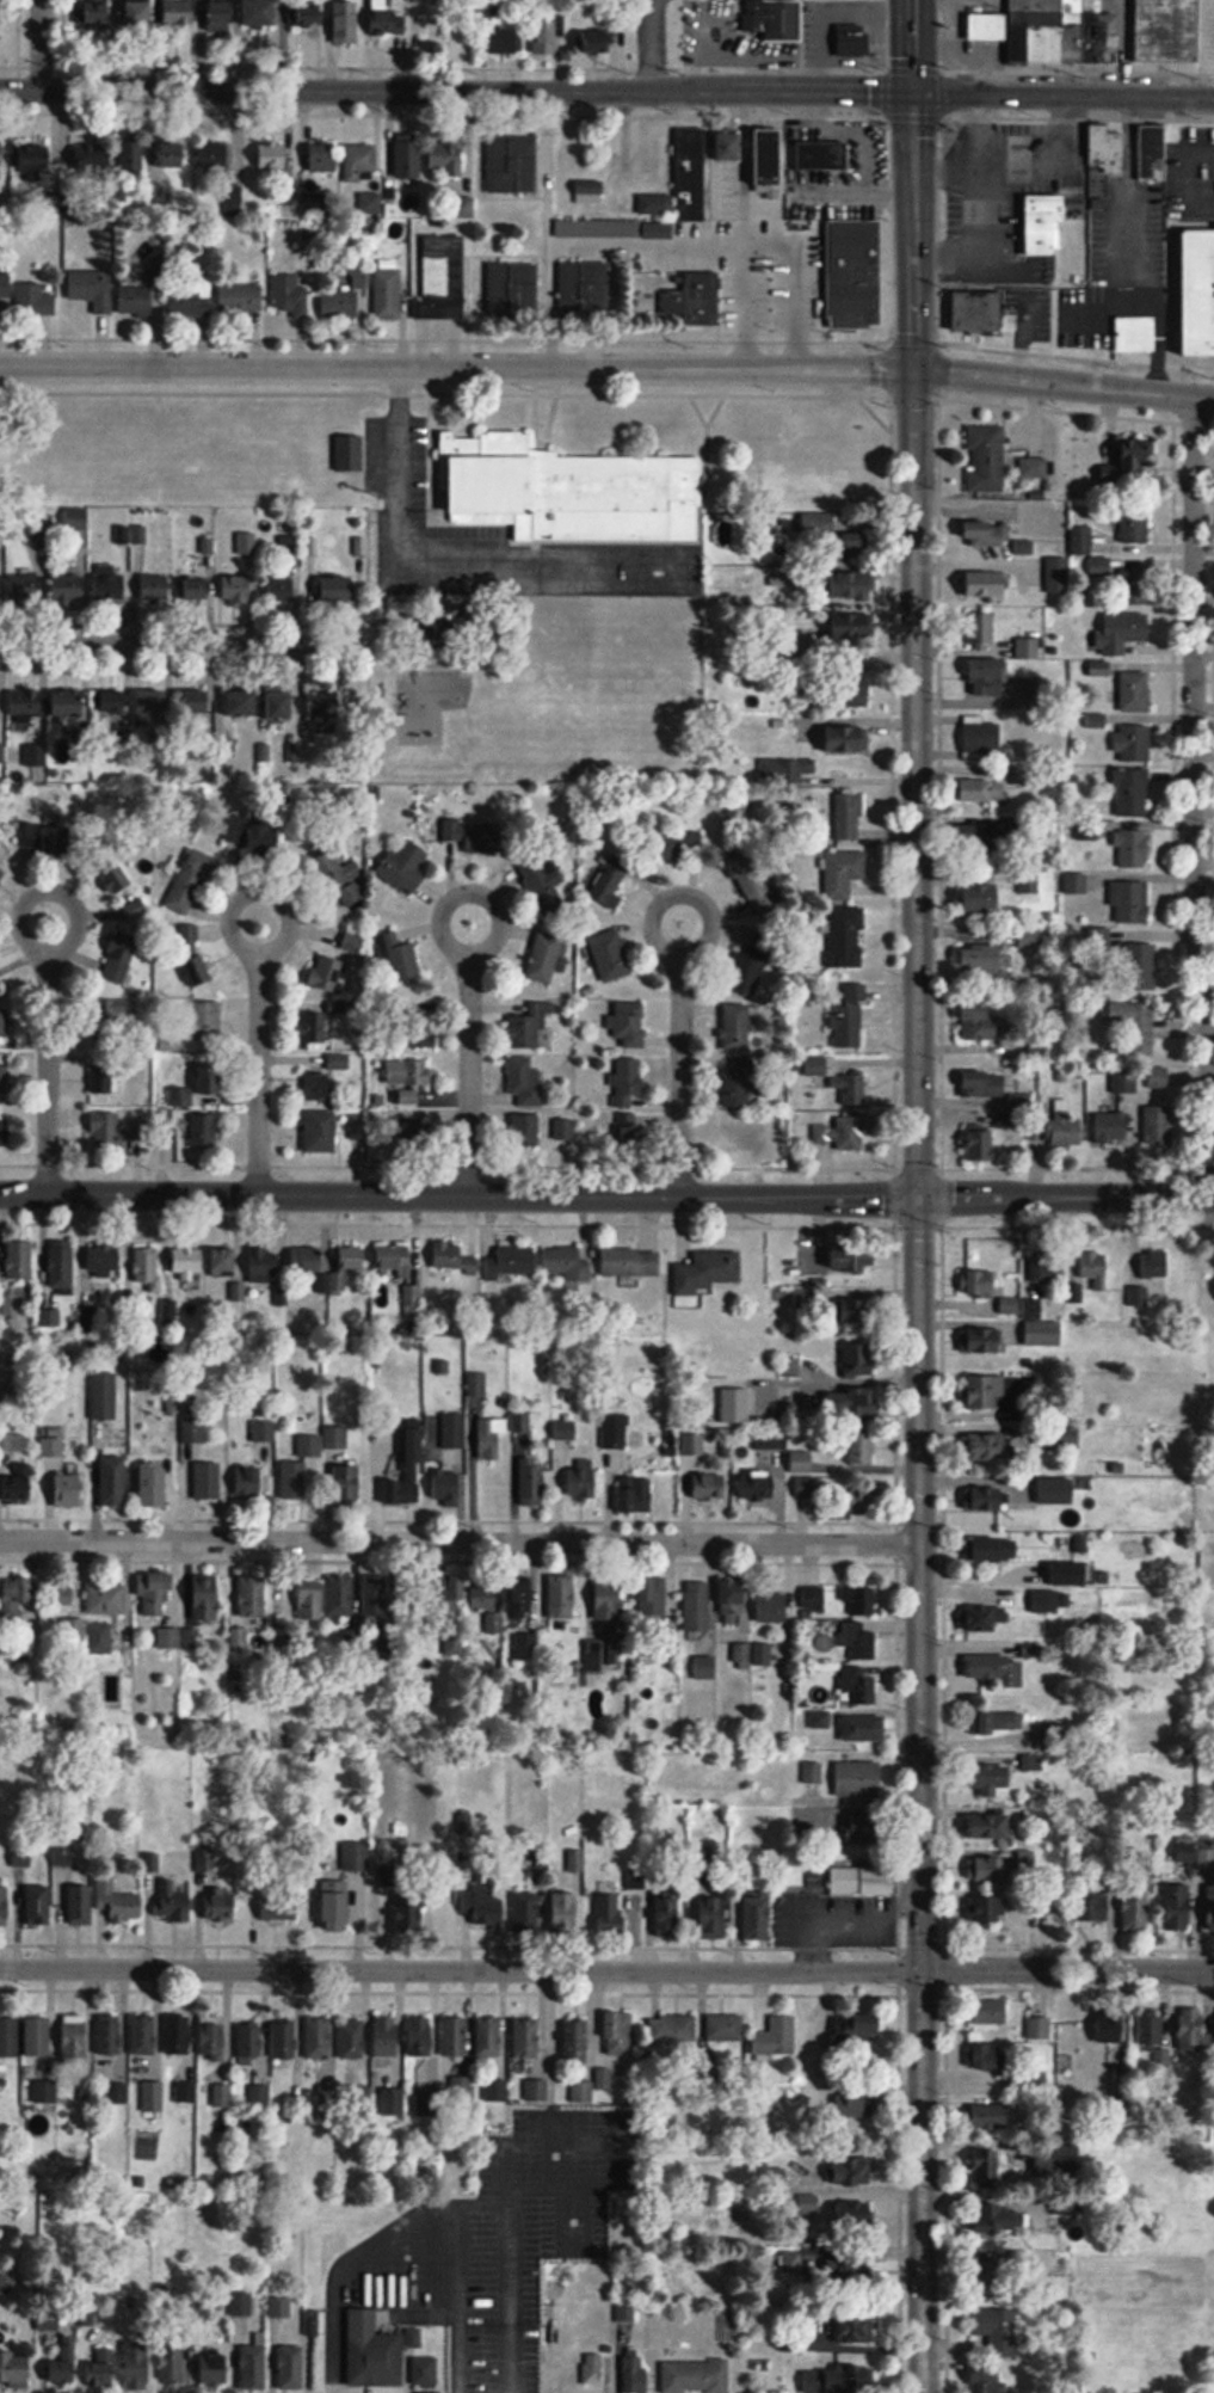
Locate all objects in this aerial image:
building: (119, 12)
building: (179, 12)
building: (308, 13)
building: (260, 14)
building: (220, 16)
building: (388, 19)
building: (784, 20)
building: (346, 23)
building: (1167, 31)
building: (1053, 32)
building: (547, 36)
building: (1212, 39)
building: (598, 41)
building: (851, 41)
building: (506, 42)
road: (38, 44)
road: (648, 44)
road: (912, 44)
road: (456, 88)
road: (1064, 92)
building: (732, 147)
building: (2, 153)
building: (215, 153)
building: (158, 154)
building: (1107, 155)
building: (37, 156)
building: (273, 156)
building: (821, 156)
building: (322, 158)
building: (406, 159)
building: (448, 160)
building: (771, 160)
building: (360, 162)
building: (94, 164)
building: (512, 164)
building: (691, 176)
building: (590, 192)
building: (657, 205)
building: (1046, 223)
building: (615, 228)
building: (855, 273)
building: (443, 278)
building: (5, 282)
building: (92, 290)
building: (586, 290)
building: (514, 291)
building: (1198, 293)
building: (291, 294)
building: (388, 294)
building: (190, 297)
building: (241, 299)
building: (345, 299)
building: (35, 300)
building: (136, 300)
building: (704, 301)
building: (976, 312)
building: (1141, 333)
road: (608, 369)
building: (356, 453)
building: (1139, 454)
building: (986, 459)
building: (1034, 467)
building: (568, 491)
building: (76, 518)
building: (1134, 527)
building: (982, 533)
building: (840, 535)
building: (1081, 540)
building: (247, 542)
building: (289, 545)
road: (436, 556)
building: (1101, 566)
building: (1058, 574)
building: (854, 585)
building: (986, 585)
building: (0, 586)
building: (131, 586)
building: (69, 588)
building: (197, 588)
building: (236, 588)
building: (27, 589)
building: (281, 589)
building: (339, 590)
building: (855, 625)
building: (981, 628)
building: (1127, 630)
road: (913, 644)
road: (185, 645)
building: (1028, 647)
building: (991, 669)
building: (1135, 689)
building: (849, 691)
building: (115, 702)
building: (197, 702)
building: (244, 702)
building: (279, 702)
building: (26, 703)
building: (68, 703)
building: (0, 705)
building: (153, 706)
building: (981, 734)
building: (849, 739)
building: (1133, 742)
building: (785, 769)
building: (1025, 775)
building: (984, 789)
building: (1132, 792)
road: (1196, 798)
building: (849, 816)
building: (254, 837)
building: (985, 838)
building: (1132, 849)
building: (406, 866)
building: (844, 873)
building: (195, 874)
building: (339, 880)
building: (1028, 882)
building: (611, 884)
building: (542, 885)
building: (754, 885)
building: (981, 898)
building: (1129, 903)
building: (1030, 936)
building: (845, 937)
building: (352, 942)
building: (191, 955)
building: (612, 955)
building: (982, 956)
building: (398, 958)
building: (119, 959)
building: (546, 960)
building: (1138, 962)
building: (748, 967)
building: (327, 973)
building: (103, 1011)
building: (978, 1011)
building: (850, 1017)
building: (207, 1019)
building: (319, 1023)
building: (413, 1023)
building: (4, 1026)
building: (737, 1027)
building: (1132, 1028)
building: (631, 1031)
building: (526, 1032)
road: (47, 1036)
road: (259, 1038)
road: (680, 1040)
road: (470, 1041)
building: (338, 1062)
building: (409, 1072)
building: (103, 1075)
building: (209, 1077)
building: (1158, 1077)
building: (4, 1079)
building: (524, 1082)
building: (739, 1082)
building: (627, 1084)
building: (981, 1084)
building: (319, 1088)
building: (851, 1089)
building: (409, 1096)
building: (1018, 1107)
building: (1117, 1112)
building: (1066, 1125)
building: (1159, 1125)
building: (526, 1130)
building: (566, 1130)
building: (321, 1131)
building: (840, 1131)
building: (109, 1132)
building: (207, 1132)
building: (741, 1132)
building: (633, 1133)
building: (413, 1136)
building: (5, 1139)
building: (981, 1144)
road: (1066, 1195)
road: (458, 1196)
traffic signals: (919, 1198)
building: (854, 1256)
building: (19, 1259)
building: (395, 1259)
building: (104, 1260)
building: (189, 1260)
building: (485, 1260)
building: (224, 1262)
building: (631, 1262)
building: (1153, 1263)
building: (265, 1265)
building: (565, 1265)
building: (62, 1266)
building: (1044, 1267)
building: (1095, 1267)
building: (147, 1268)
building: (329, 1268)
building: (708, 1272)
building: (979, 1282)
building: (1138, 1296)
building: (4, 1303)
building: (859, 1312)
building: (1044, 1333)
building: (986, 1340)
building: (859, 1354)
building: (791, 1366)
building: (476, 1384)
building: (987, 1391)
building: (105, 1395)
building: (846, 1404)
building: (735, 1405)
building: (192, 1431)
building: (565, 1431)
building: (615, 1431)
building: (449, 1432)
building: (491, 1435)
building: (335, 1438)
building: (53, 1441)
building: (309, 1445)
building: (862, 1446)
building: (990, 1446)
building: (801, 1462)
building: (411, 1470)
building: (583, 1478)
building: (113, 1481)
building: (208, 1481)
building: (531, 1481)
building: (155, 1482)
building: (248, 1482)
building: (294, 1482)
building: (347, 1485)
building: (758, 1485)
building: (710, 1487)
building: (18, 1488)
building: (63, 1489)
building: (448, 1489)
building: (641, 1495)
building: (807, 1497)
building: (988, 1497)
building: (859, 1503)
road: (460, 1542)
building: (997, 1549)
building: (1070, 1574)
building: (155, 1592)
building: (62, 1593)
building: (483, 1595)
building: (207, 1597)
building: (252, 1597)
building: (340, 1597)
building: (106, 1598)
building: (561, 1598)
building: (734, 1598)
building: (309, 1599)
building: (653, 1599)
building: (16, 1600)
building: (865, 1600)
building: (446, 1601)
building: (519, 1601)
building: (697, 1606)
building: (772, 1607)
building: (610, 1608)
building: (979, 1618)
building: (491, 1623)
building: (99, 1637)
building: (170, 1637)
building: (857, 1641)
building: (594, 1655)
building: (705, 1667)
building: (998, 1668)
building: (861, 1687)
building: (821, 1720)
building: (1002, 1720)
building: (864, 1727)
building: (1053, 1735)
building: (859, 1777)
building: (992, 1779)
road: (920, 1795)
building: (990, 1826)
building: (868, 1827)
building: (1196, 1854)
building: (1027, 1858)
building: (991, 1868)
building: (863, 1880)
building: (165, 1900)
building: (70, 1902)
building: (111, 1902)
building: (30, 1903)
building: (279, 1903)
building: (211, 1905)
building: (5, 1906)
building: (481, 1906)
building: (1108, 1907)
building: (1178, 1907)
building: (1210, 1907)
building: (335, 1911)
building: (413, 1911)
building: (985, 1911)
building: (529, 1912)
building: (565, 1912)
building: (611, 1913)
building: (670, 1915)
building: (715, 1918)
building: (758, 1918)
road: (606, 1969)
building: (985, 2011)
building: (1040, 2025)
building: (1110, 2025)
building: (725, 2028)
building: (1151, 2028)
building: (672, 2029)
building: (858, 2029)
building: (1194, 2030)
building: (134, 2032)
building: (4, 2034)
building: (100, 2034)
building: (168, 2034)
building: (620, 2034)
building: (29, 2035)
building: (66, 2035)
building: (204, 2036)
building: (387, 2036)
building: (319, 2037)
building: (423, 2037)
building: (455, 2037)
building: (489, 2037)
building: (777, 2037)
building: (285, 2038)
building: (525, 2038)
building: (352, 2040)
building: (251, 2041)
building: (577, 2041)
building: (987, 2056)
building: (1029, 2079)
building: (497, 2091)
building: (536, 2091)
building: (583, 2091)
building: (116, 2093)
building: (186, 2093)
building: (153, 2097)
building: (393, 2102)
building: (863, 2105)
building: (987, 2116)
building: (1058, 2159)
building: (988, 2167)
building: (854, 2170)
building: (855, 2216)
building: (1002, 2217)
building: (791, 2262)
building: (997, 2274)
building: (627, 2312)
building: (997, 2327)
building: (857, 2329)
building: (372, 2352)
building: (165, 2358)
building: (56, 2360)
building: (93, 2363)
building: (128, 2364)
building: (245, 2364)
building: (282, 2366)
building: (10, 2368)
building: (203, 2368)
building: (594, 2370)
building: (635, 2370)
building: (426, 2372)
building: (696, 2376)
building: (851, 2379)
building: (986, 2380)

